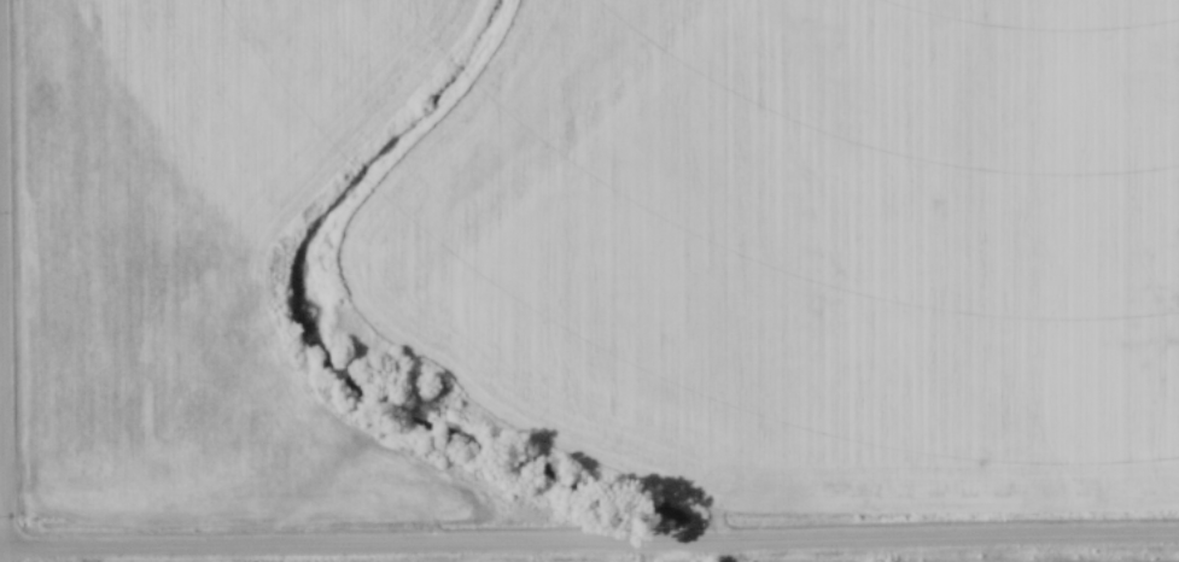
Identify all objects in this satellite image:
road: (589, 544)

